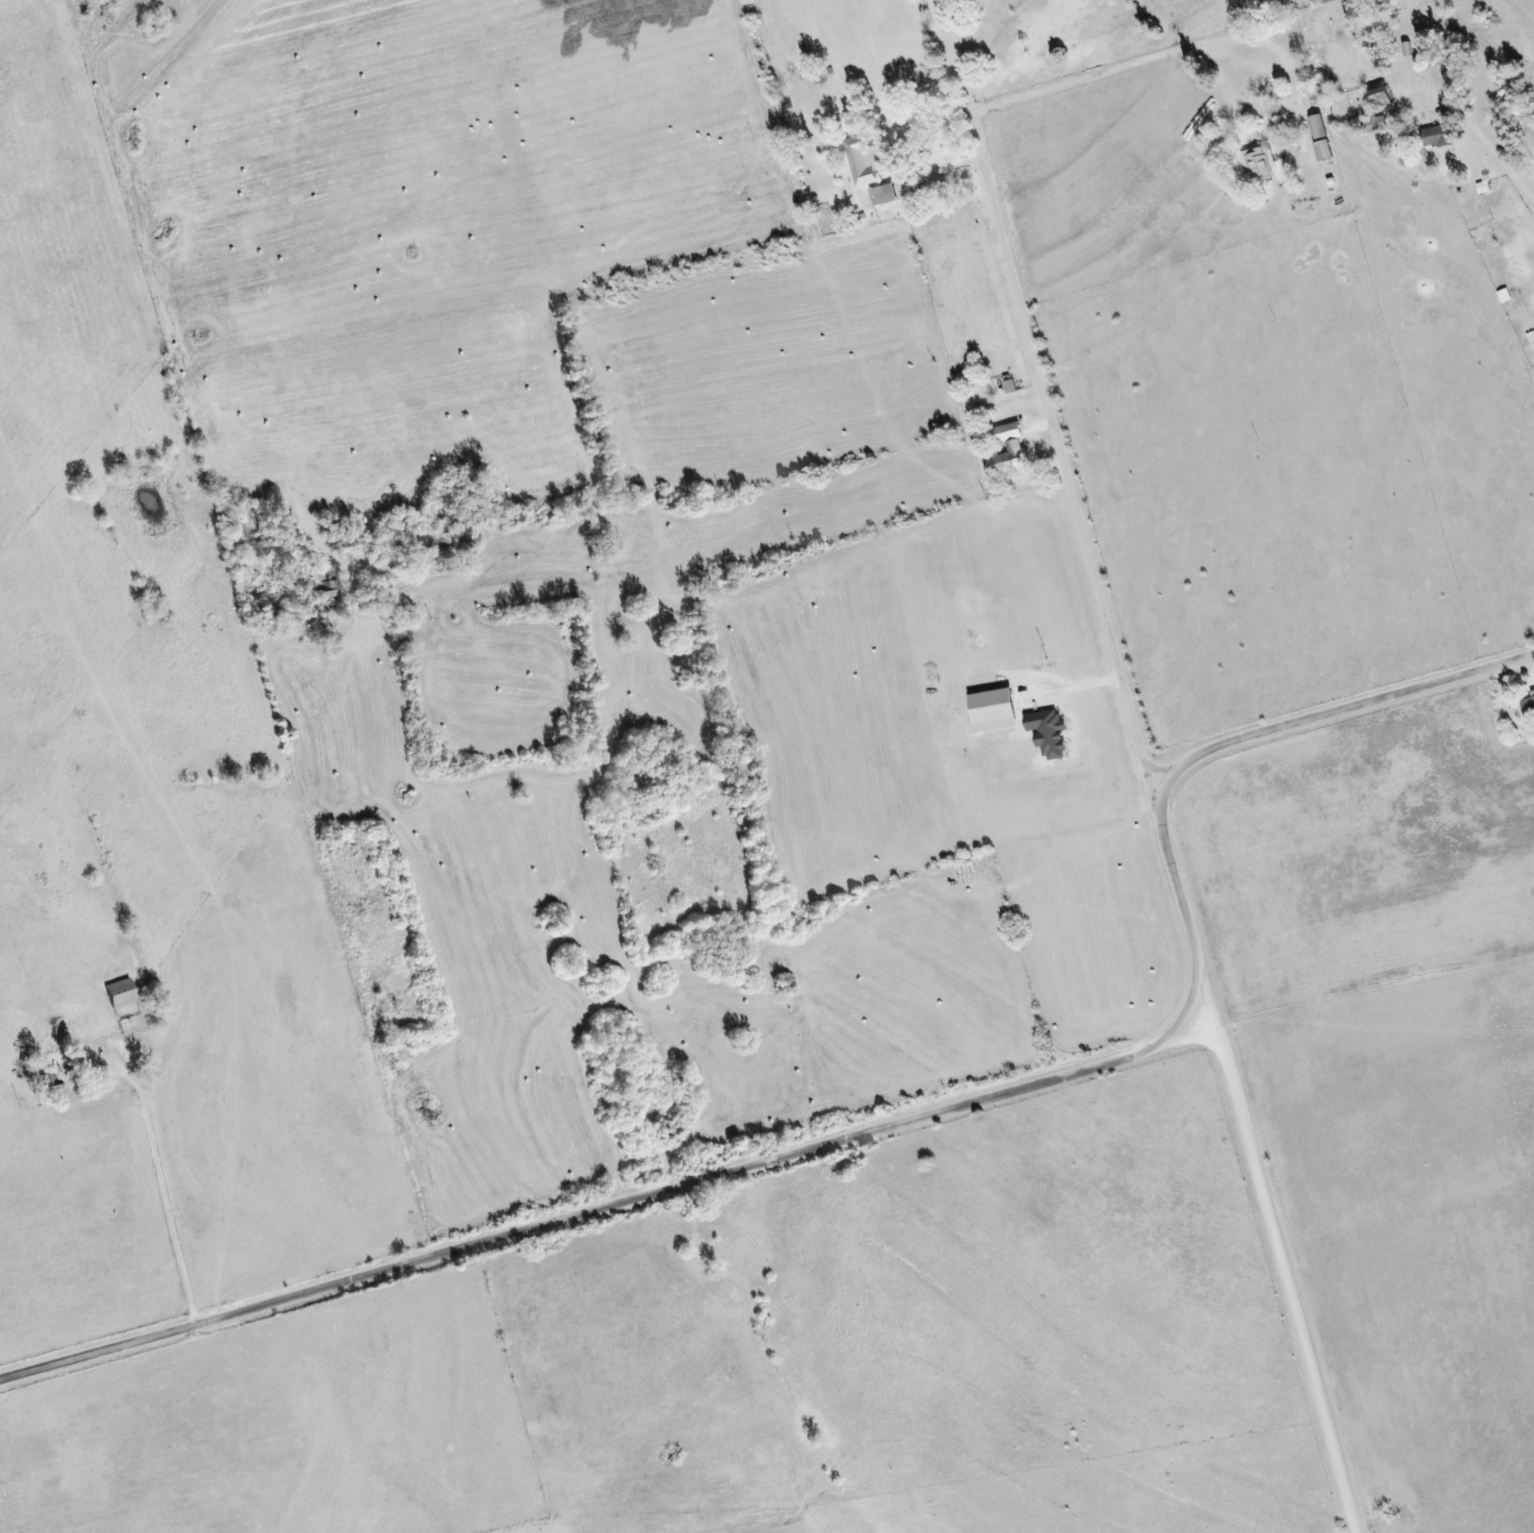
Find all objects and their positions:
road: (1168, 53)
building: (1380, 99)
building: (1375, 124)
building: (1317, 126)
building: (1436, 137)
building: (1322, 150)
road: (1493, 155)
building: (862, 161)
building: (1258, 162)
building: (882, 194)
road: (1052, 411)
building: (1015, 448)
building: (1528, 708)
building: (993, 711)
road: (1324, 713)
building: (1047, 733)
building: (119, 993)
road: (1256, 1178)
road: (161, 1183)
road: (623, 1201)

